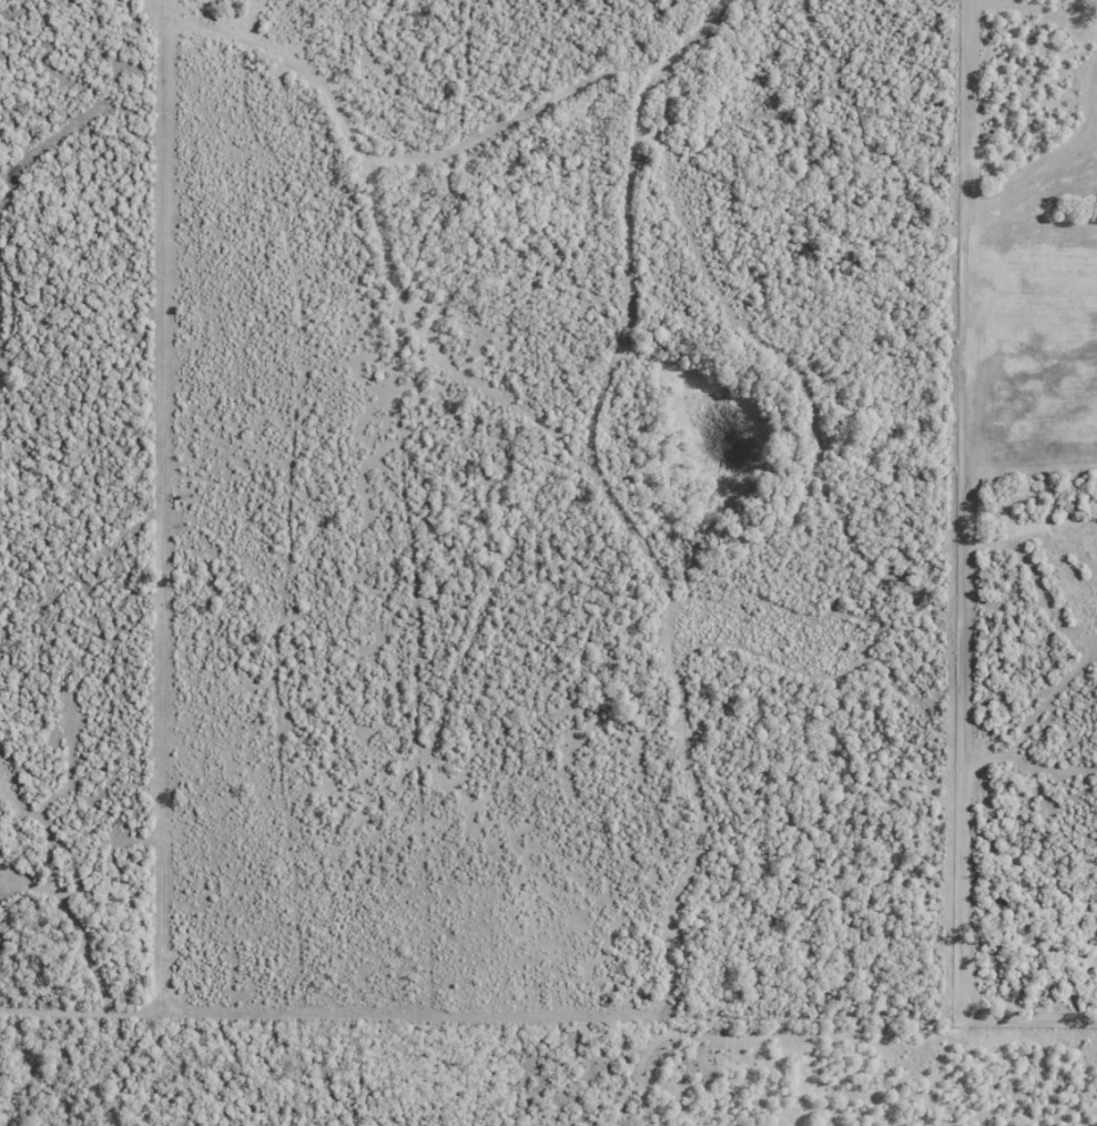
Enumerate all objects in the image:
road: (738, 27)

